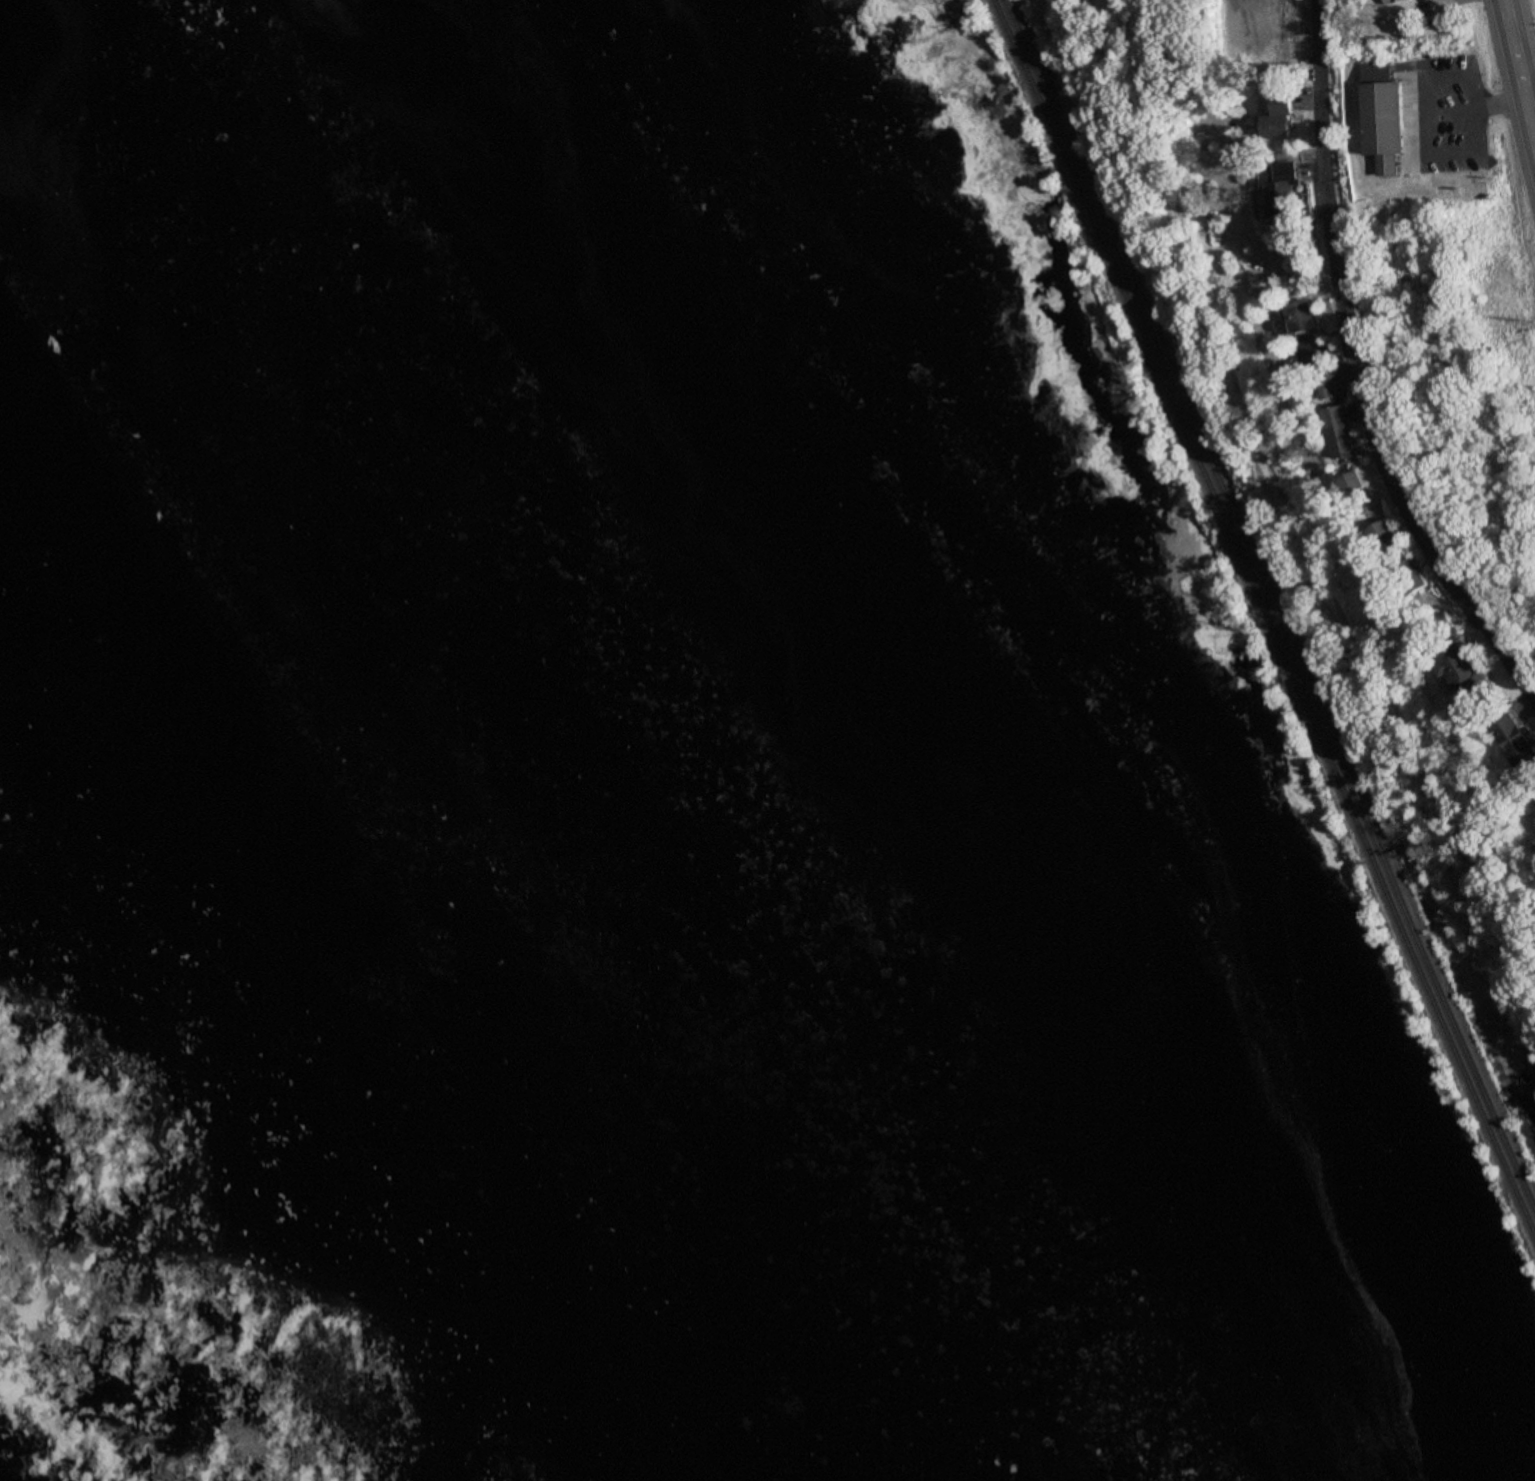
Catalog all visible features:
building: (1393, 1)
road: (1248, 26)
road: (1525, 35)
road: (1151, 68)
road: (1515, 91)
building: (1277, 117)
building: (1382, 117)
building: (1280, 194)
building: (1300, 317)
road: (1359, 372)
building: (1324, 386)
building: (1339, 433)
building: (1353, 483)
road: (1264, 485)
building: (1386, 539)
building: (1412, 576)
railway: (1269, 605)
railway: (1263, 618)
building: (1461, 666)
building: (1514, 740)

